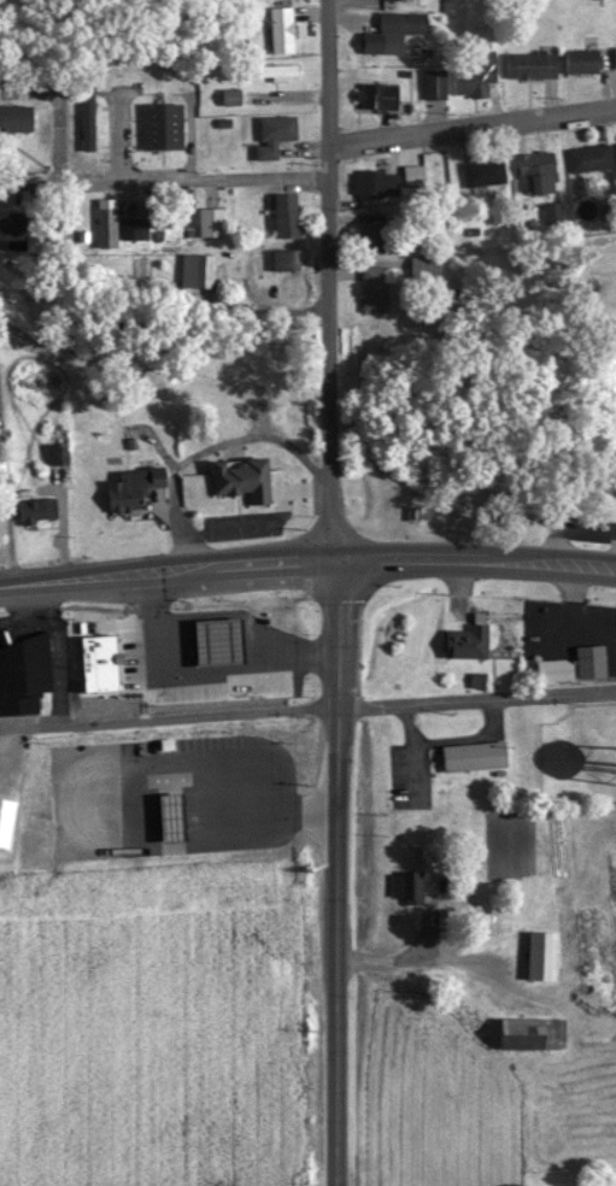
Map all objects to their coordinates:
building: (280, 28)
building: (393, 33)
building: (581, 59)
building: (530, 63)
building: (277, 70)
building: (474, 74)
building: (434, 82)
building: (377, 94)
building: (16, 117)
building: (86, 118)
building: (160, 125)
road: (471, 125)
building: (272, 133)
building: (588, 157)
building: (482, 170)
building: (535, 171)
road: (203, 177)
building: (369, 181)
building: (175, 210)
building: (286, 213)
building: (210, 221)
building: (106, 227)
building: (133, 227)
building: (12, 229)
building: (371, 230)
building: (286, 258)
building: (196, 270)
road: (325, 278)
building: (374, 287)
building: (241, 478)
building: (133, 487)
building: (615, 505)
building: (36, 510)
road: (476, 558)
road: (168, 571)
building: (266, 632)
building: (467, 638)
building: (589, 660)
building: (25, 664)
building: (552, 669)
building: (212, 671)
road: (476, 700)
road: (169, 721)
building: (473, 753)
building: (5, 817)
road: (336, 871)
building: (407, 883)
building: (541, 952)
road: (416, 962)
building: (532, 1031)

